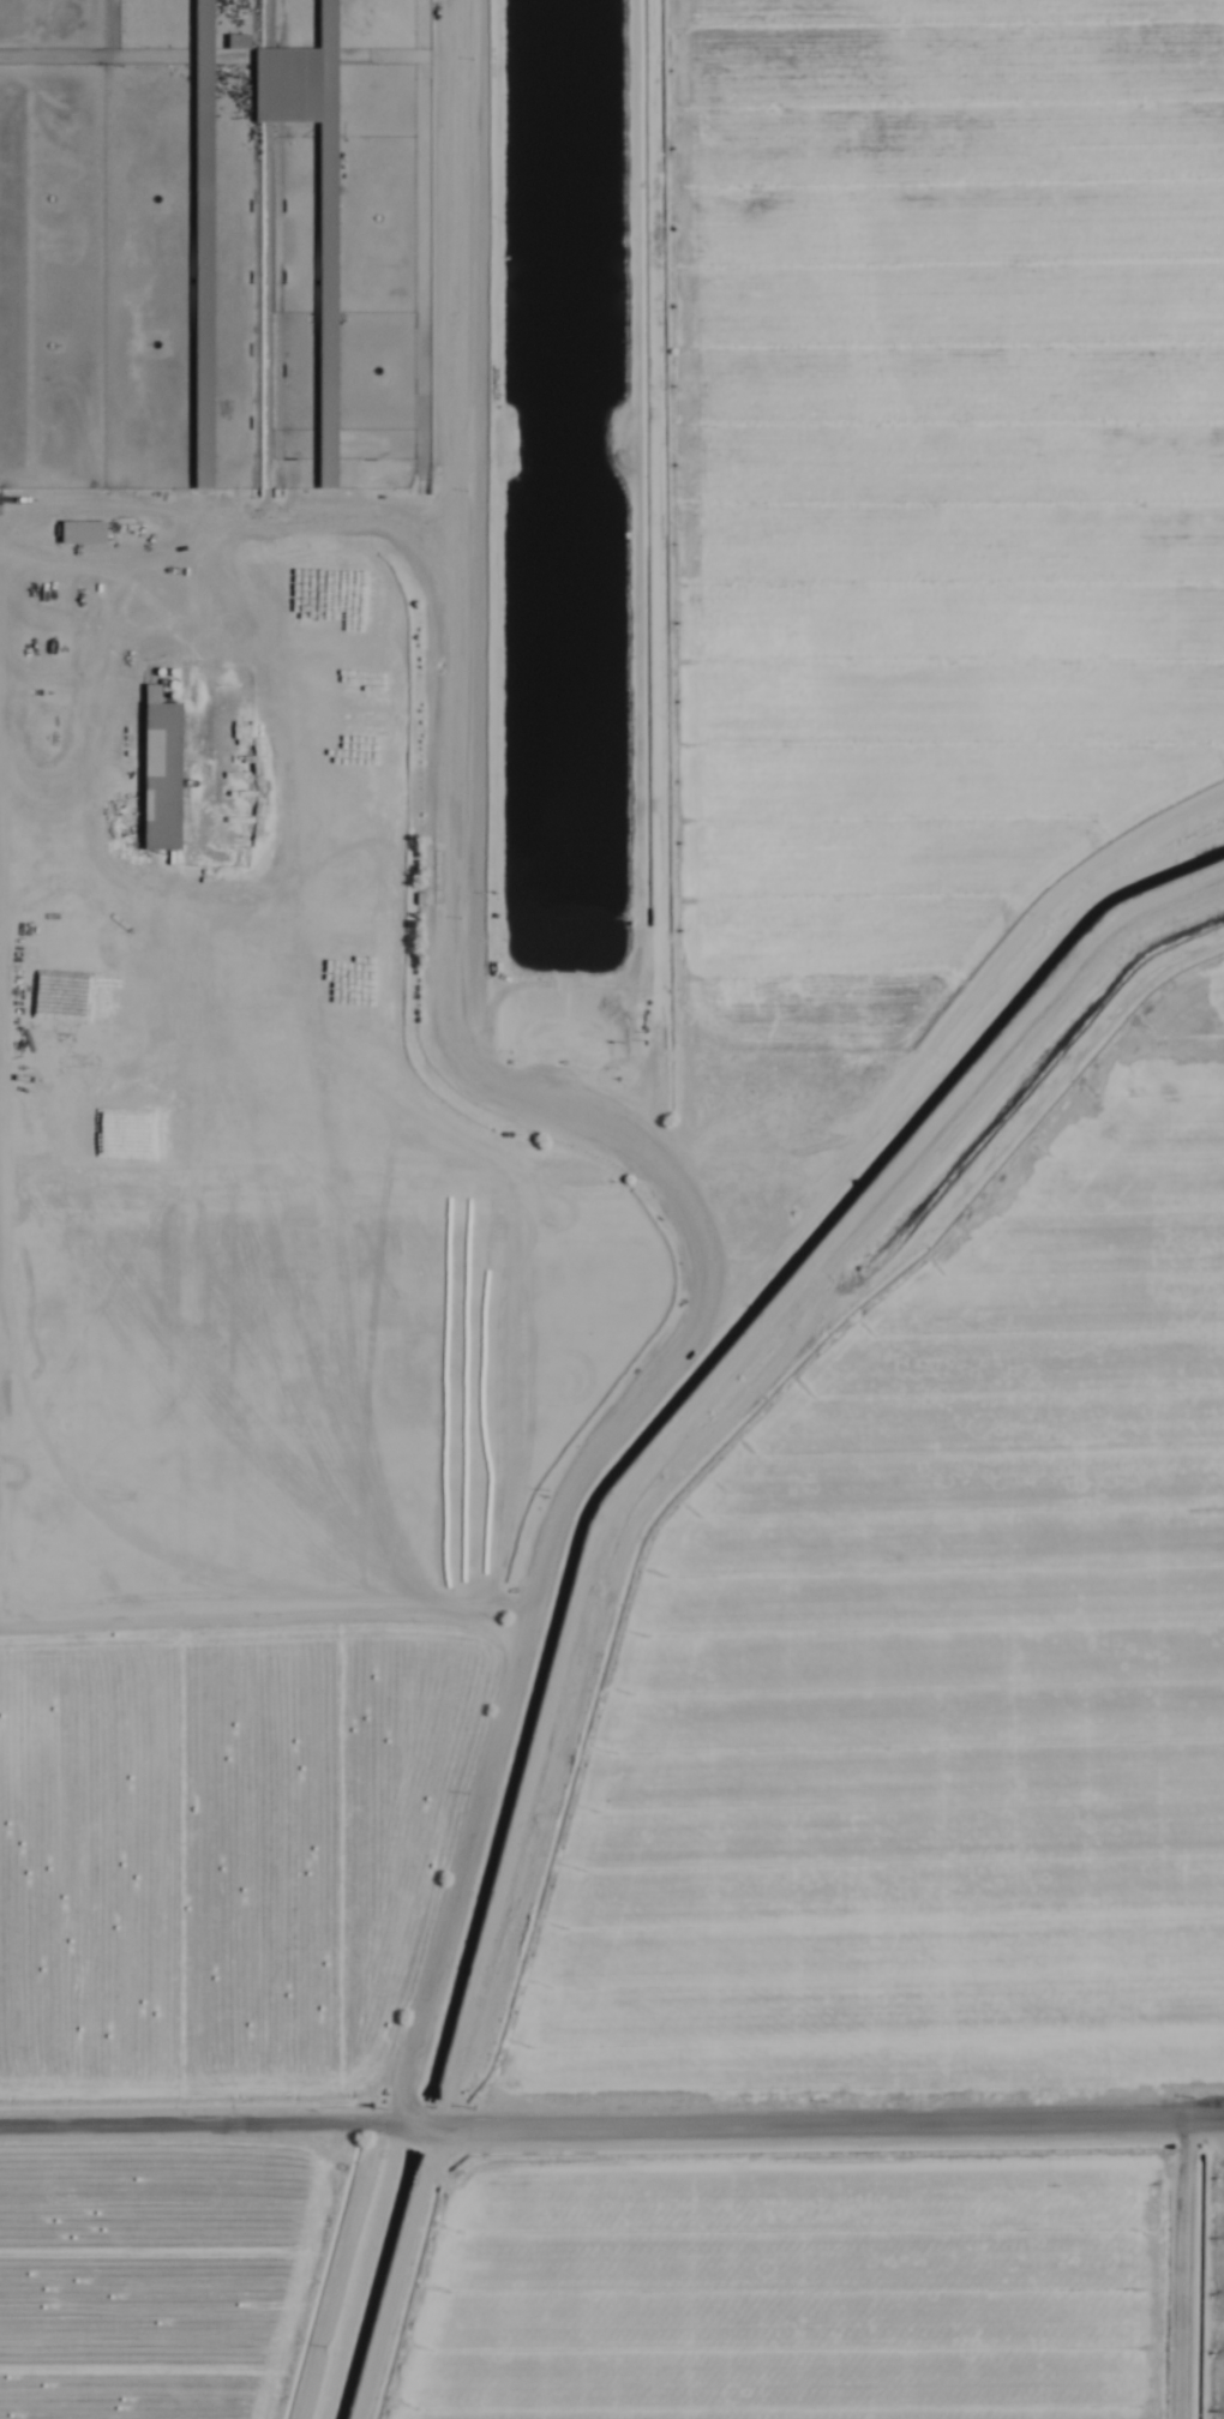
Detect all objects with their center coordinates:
building: (198, 244)
building: (323, 306)
building: (78, 533)
building: (156, 772)
road: (553, 1108)
crop: (612, 1209)
road: (611, 2125)

